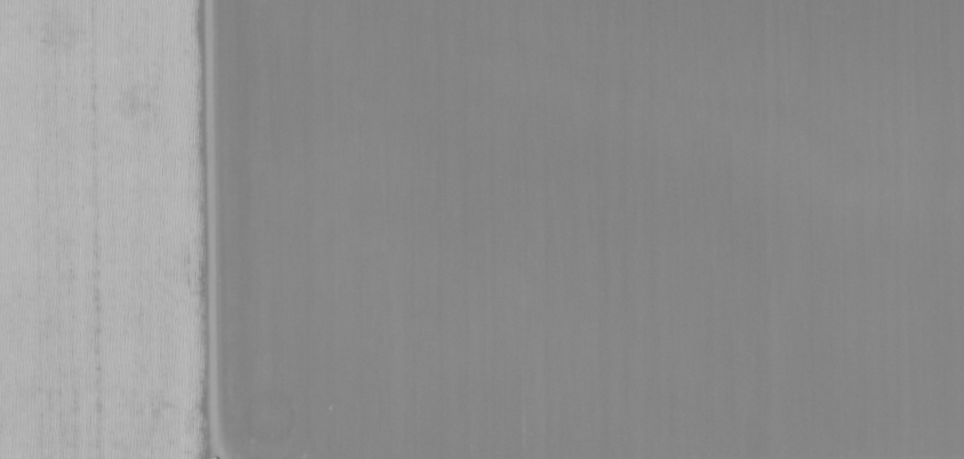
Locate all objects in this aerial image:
crop: (588, 229)
crop: (106, 230)

